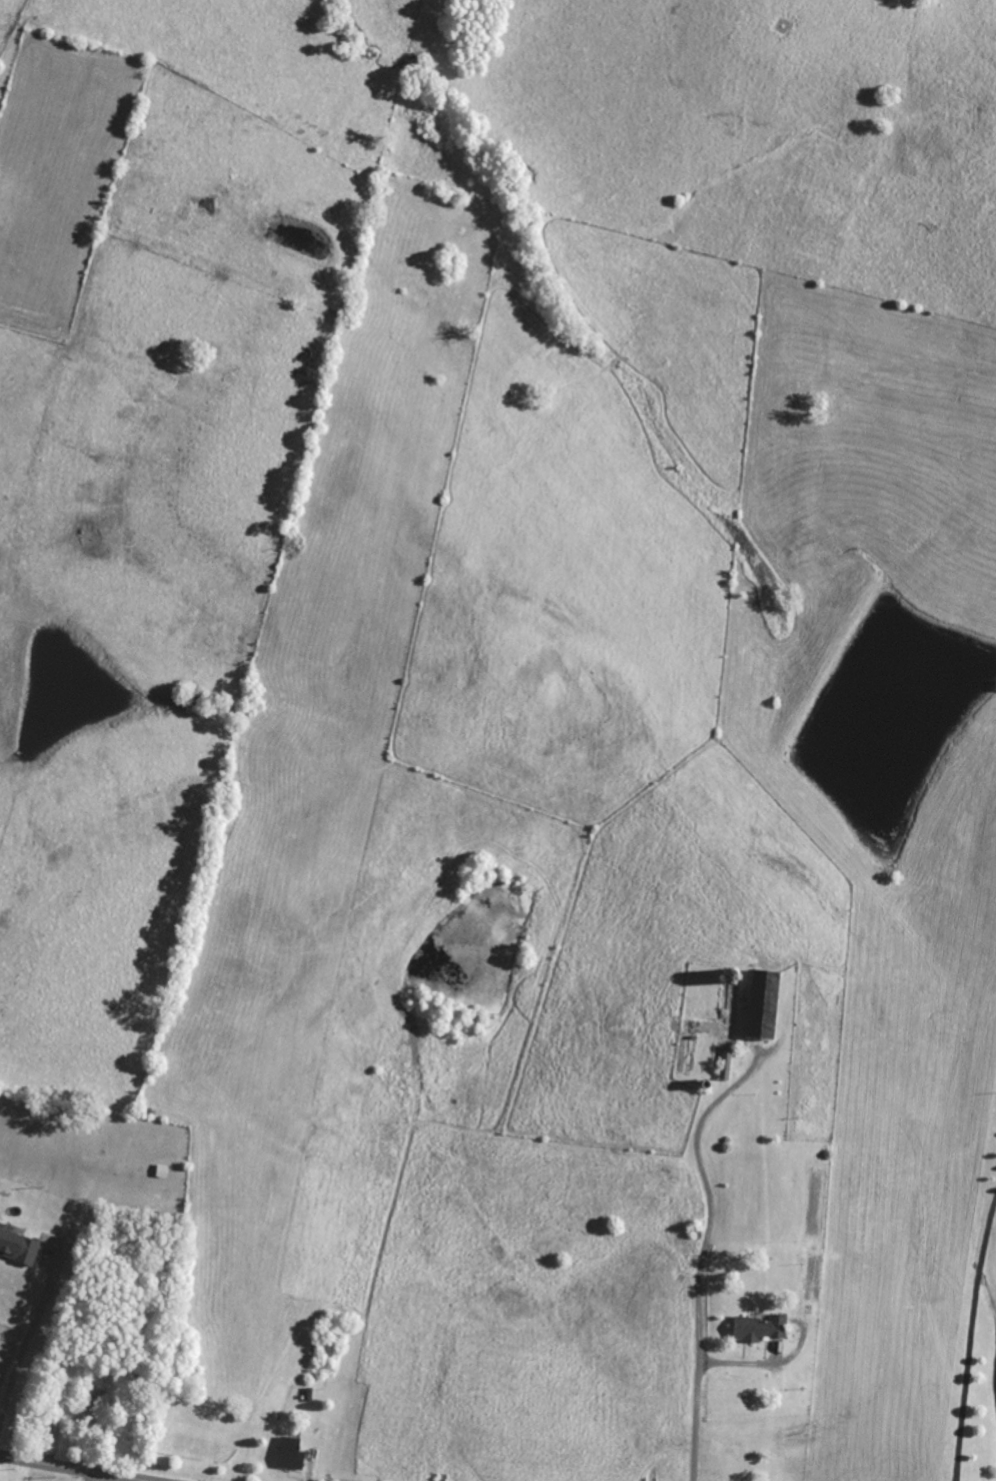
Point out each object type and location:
building: (765, 1003)
building: (727, 1062)
building: (18, 1246)
road: (703, 1255)
building: (760, 1328)
road: (970, 1338)
road: (29, 1340)
building: (91, 1411)
building: (291, 1454)
road: (84, 1468)

